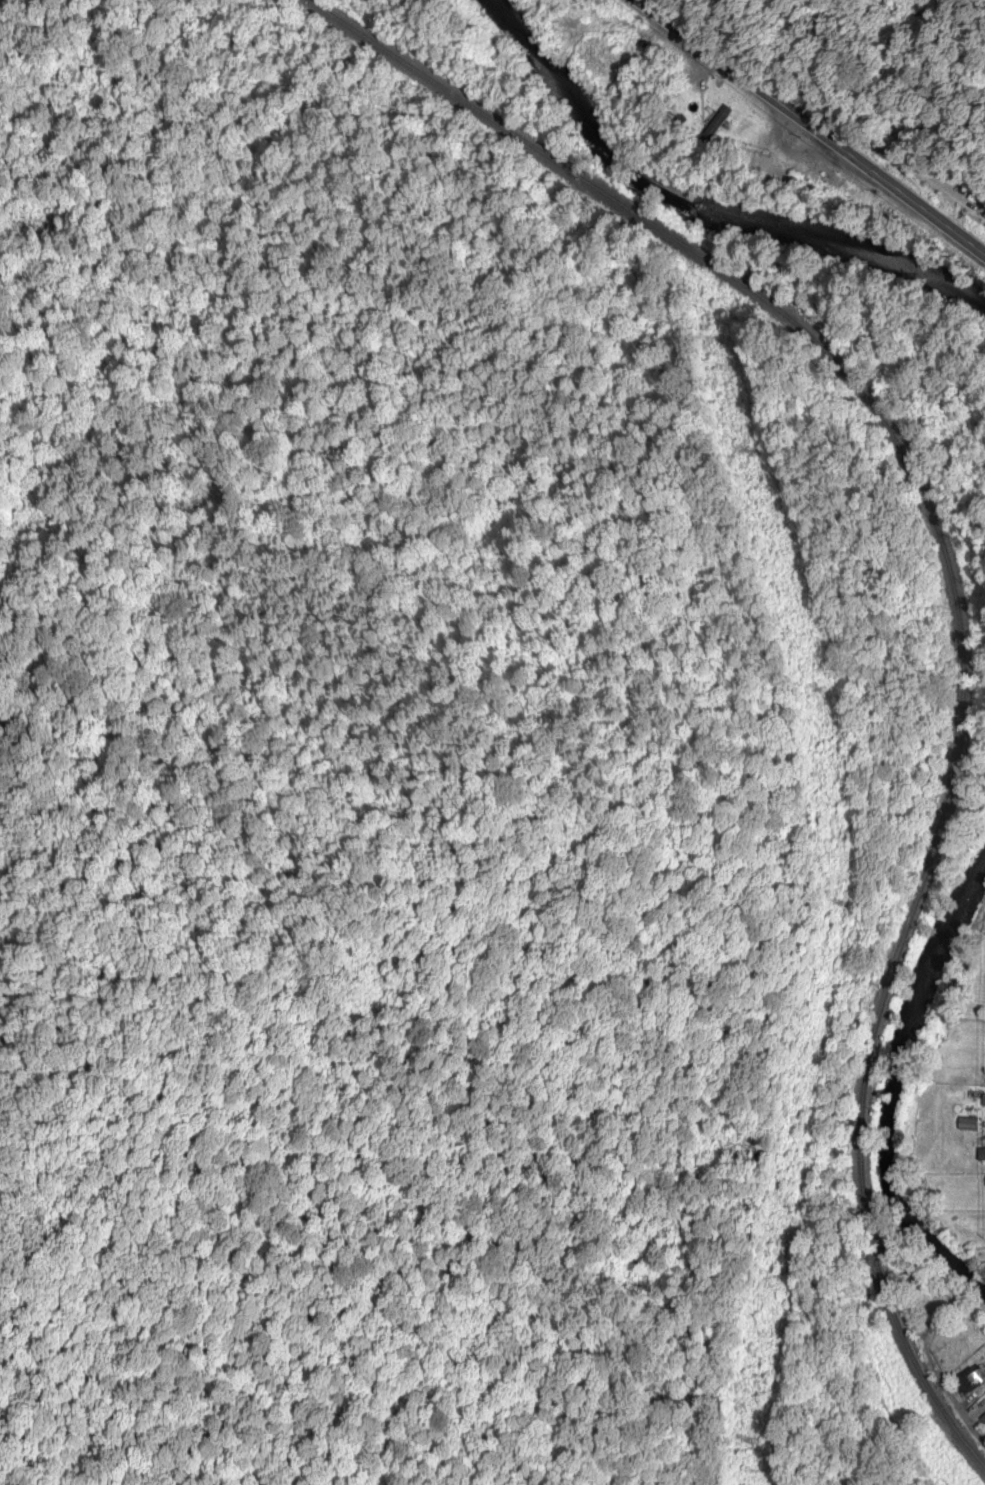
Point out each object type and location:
building: (713, 123)
road: (812, 125)
river: (745, 174)
building: (984, 217)
power tower: (748, 456)
railway: (963, 596)
power tower: (817, 692)
power tower: (835, 906)
river: (901, 1067)
building: (983, 1099)
road: (954, 1284)
building: (970, 1378)
building: (983, 1416)
power tower: (748, 1444)

